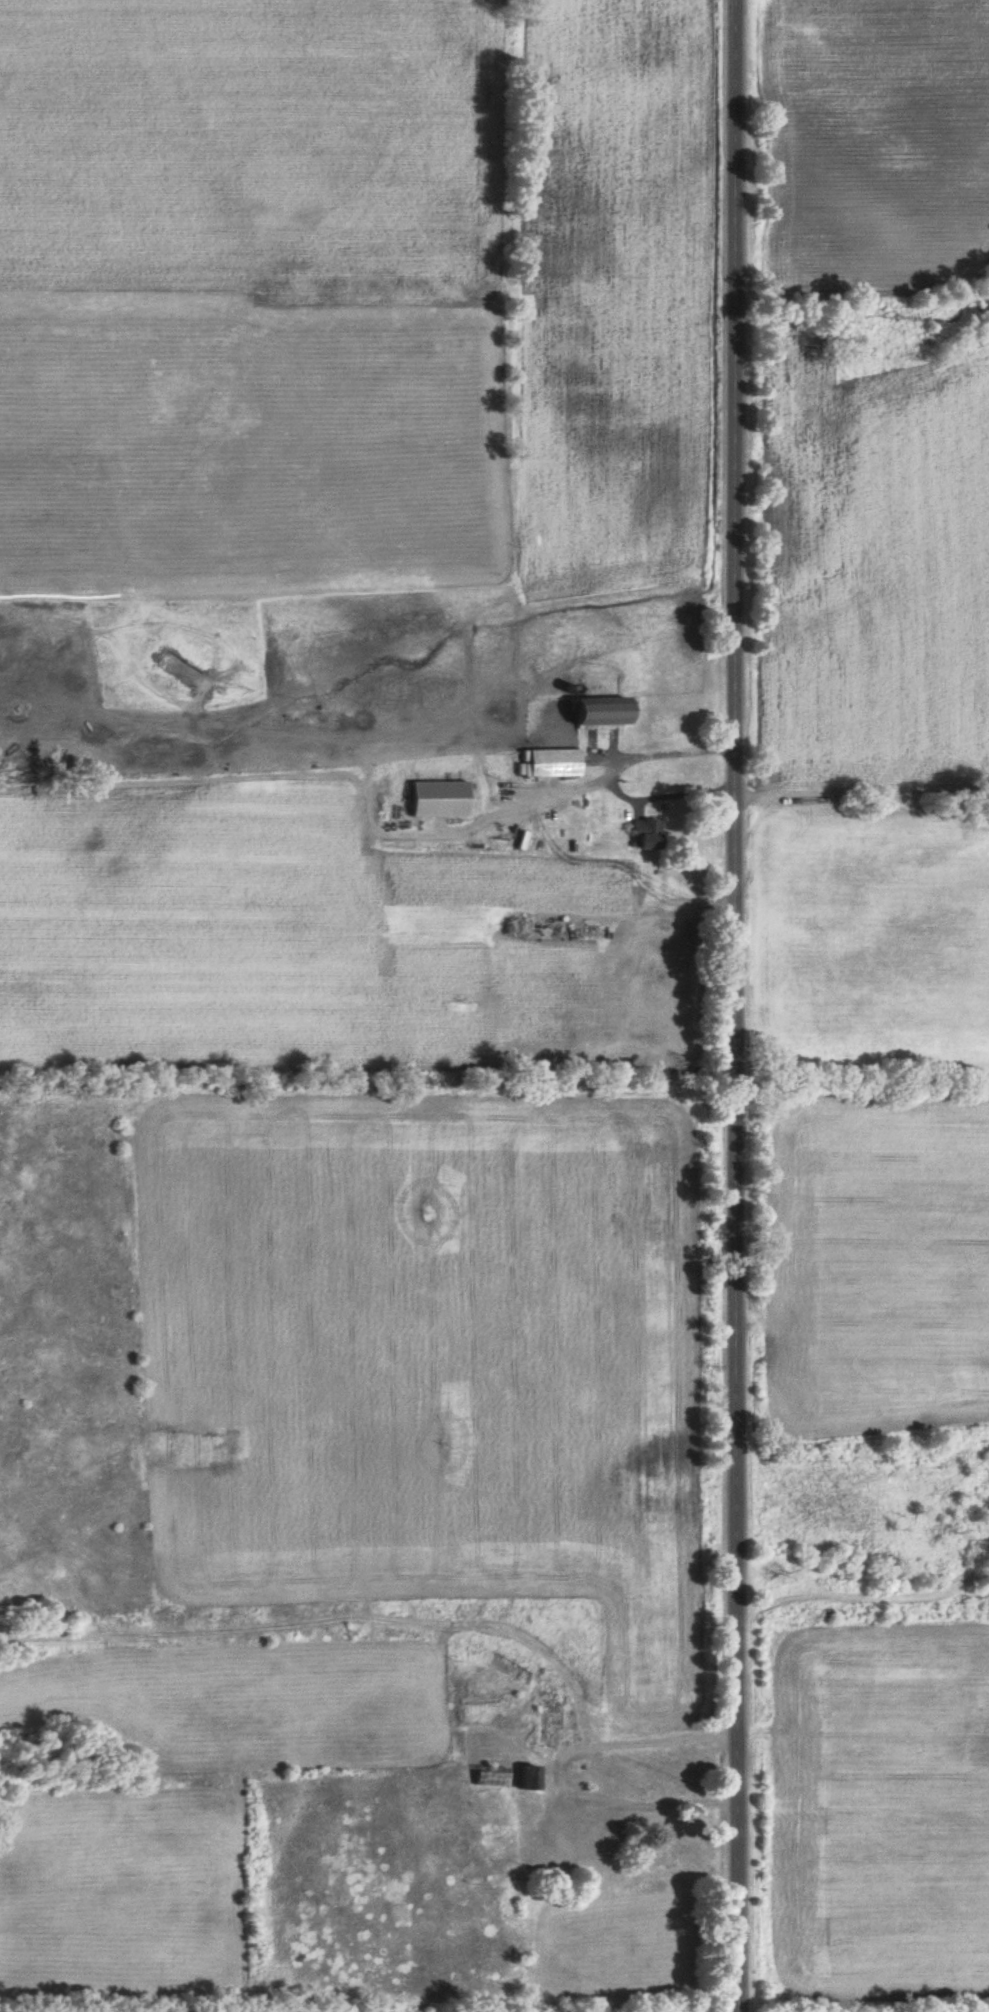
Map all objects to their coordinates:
building: (597, 711)
building: (551, 762)
road: (614, 776)
building: (437, 799)
road: (537, 799)
building: (644, 834)
road: (742, 1006)
building: (545, 1720)
building: (489, 1776)
building: (525, 1777)
building: (593, 1840)

